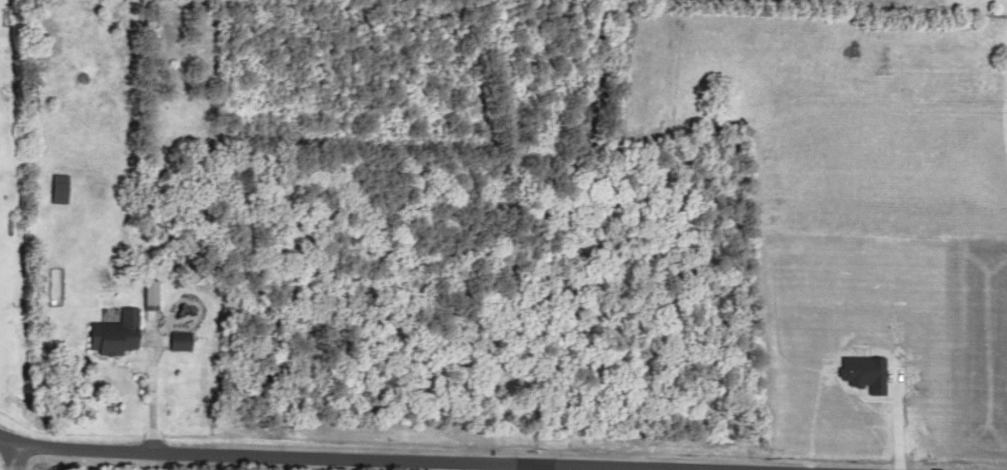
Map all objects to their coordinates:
building: (143, 297)
building: (108, 336)
building: (172, 342)

